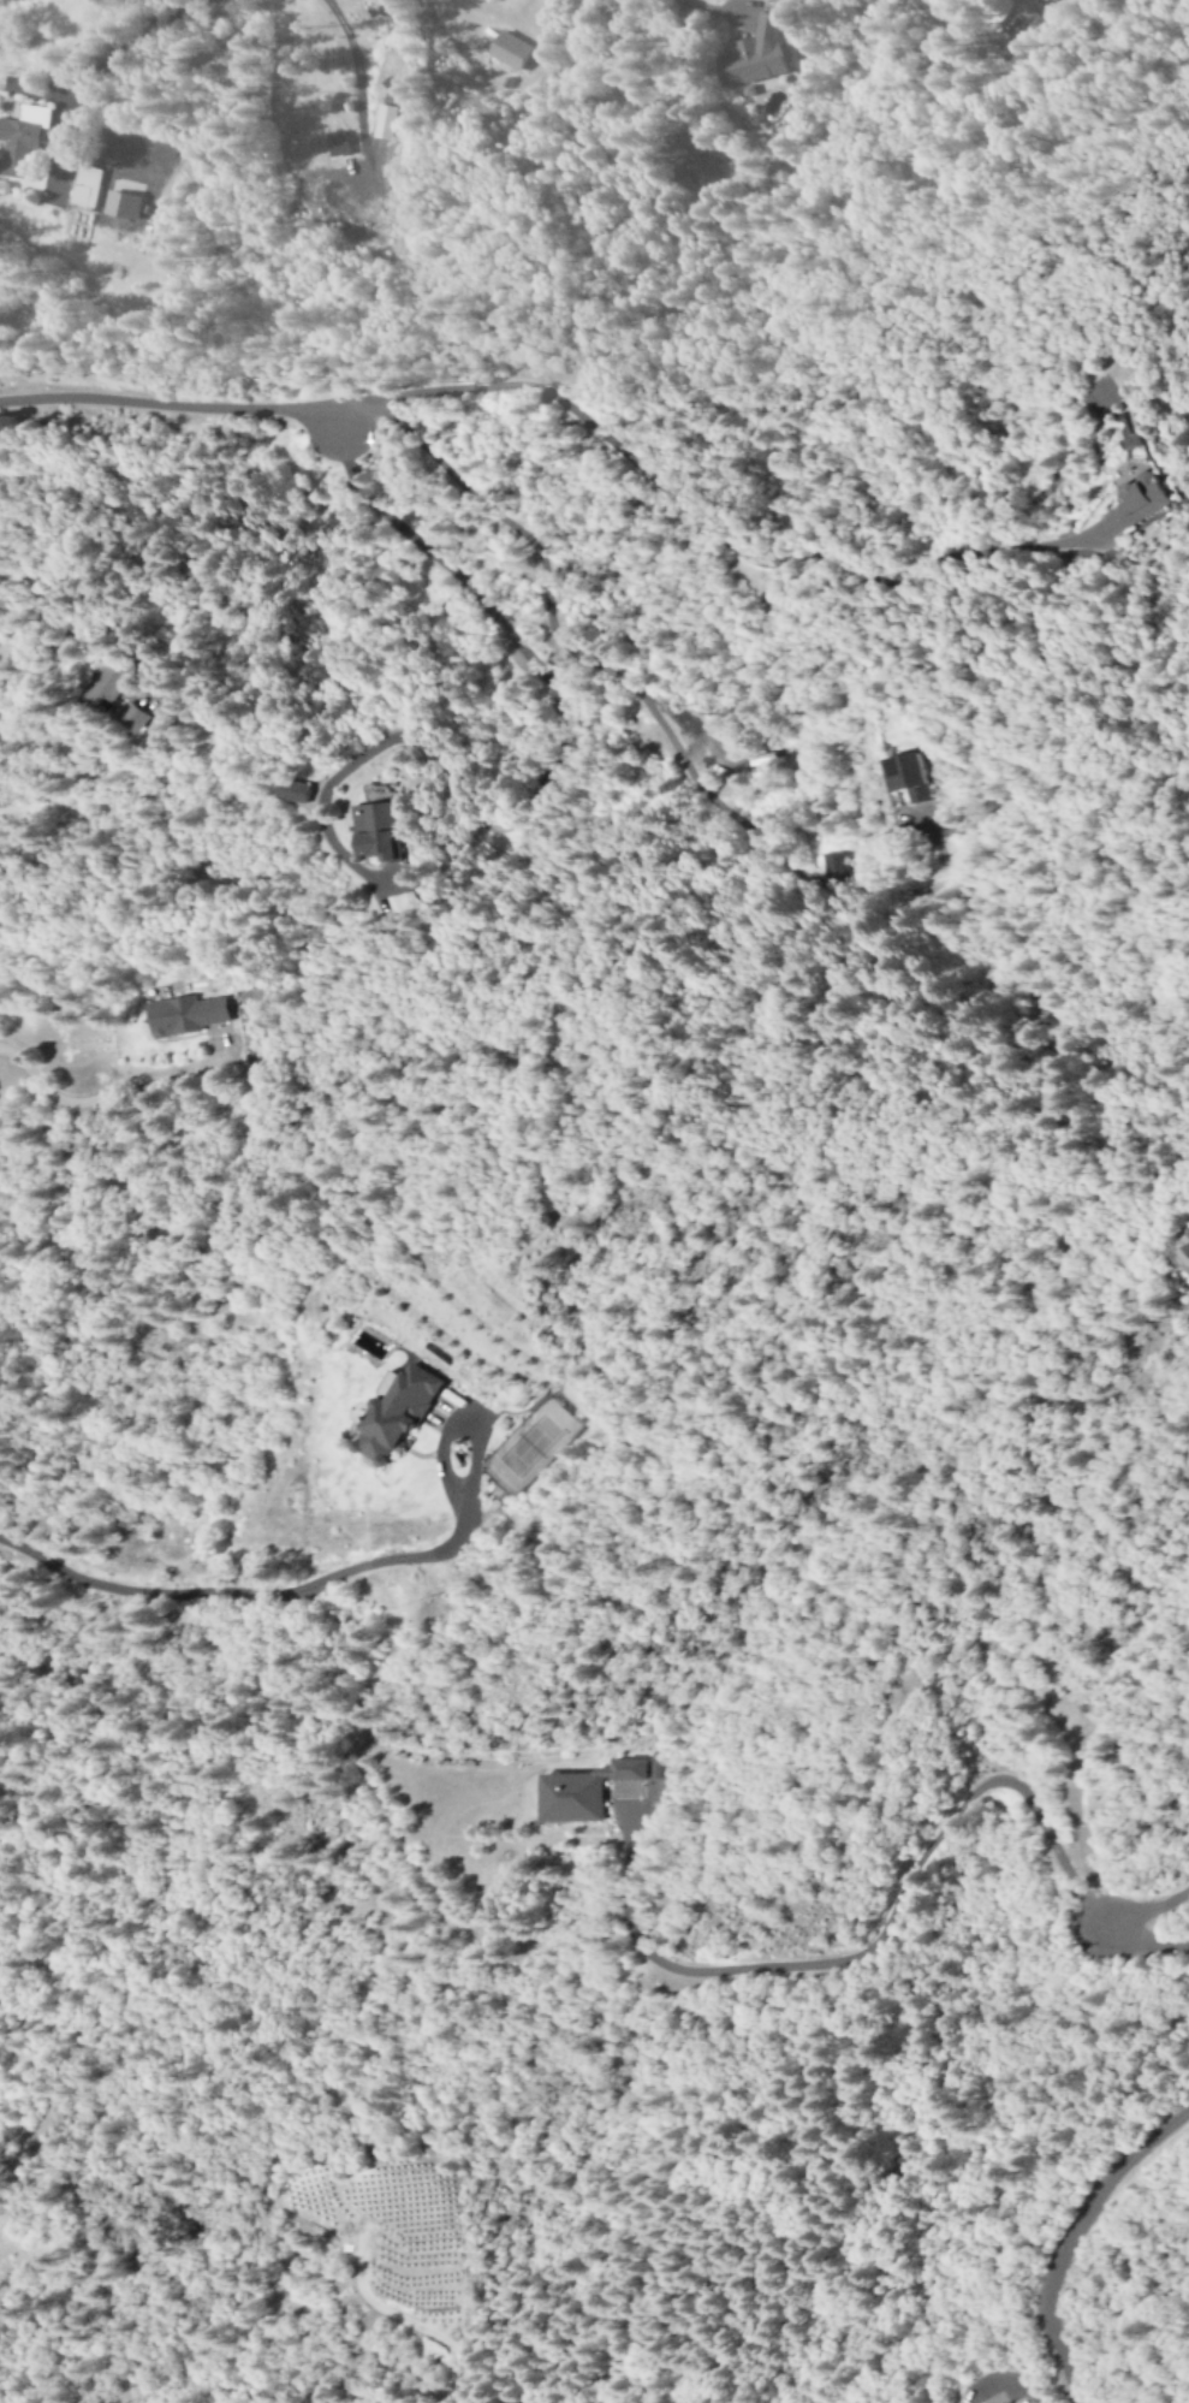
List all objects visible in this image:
building: (1030, 10)
road: (950, 25)
building: (507, 51)
building: (753, 54)
building: (386, 123)
building: (20, 138)
building: (334, 143)
building: (84, 186)
building: (119, 206)
road: (172, 407)
building: (1135, 503)
building: (112, 680)
building: (137, 717)
building: (904, 778)
building: (296, 791)
building: (379, 832)
building: (400, 902)
building: (189, 1016)
building: (1176, 1257)
building: (391, 1414)
building: (578, 1792)
road: (1139, 1946)
road: (1068, 2231)

